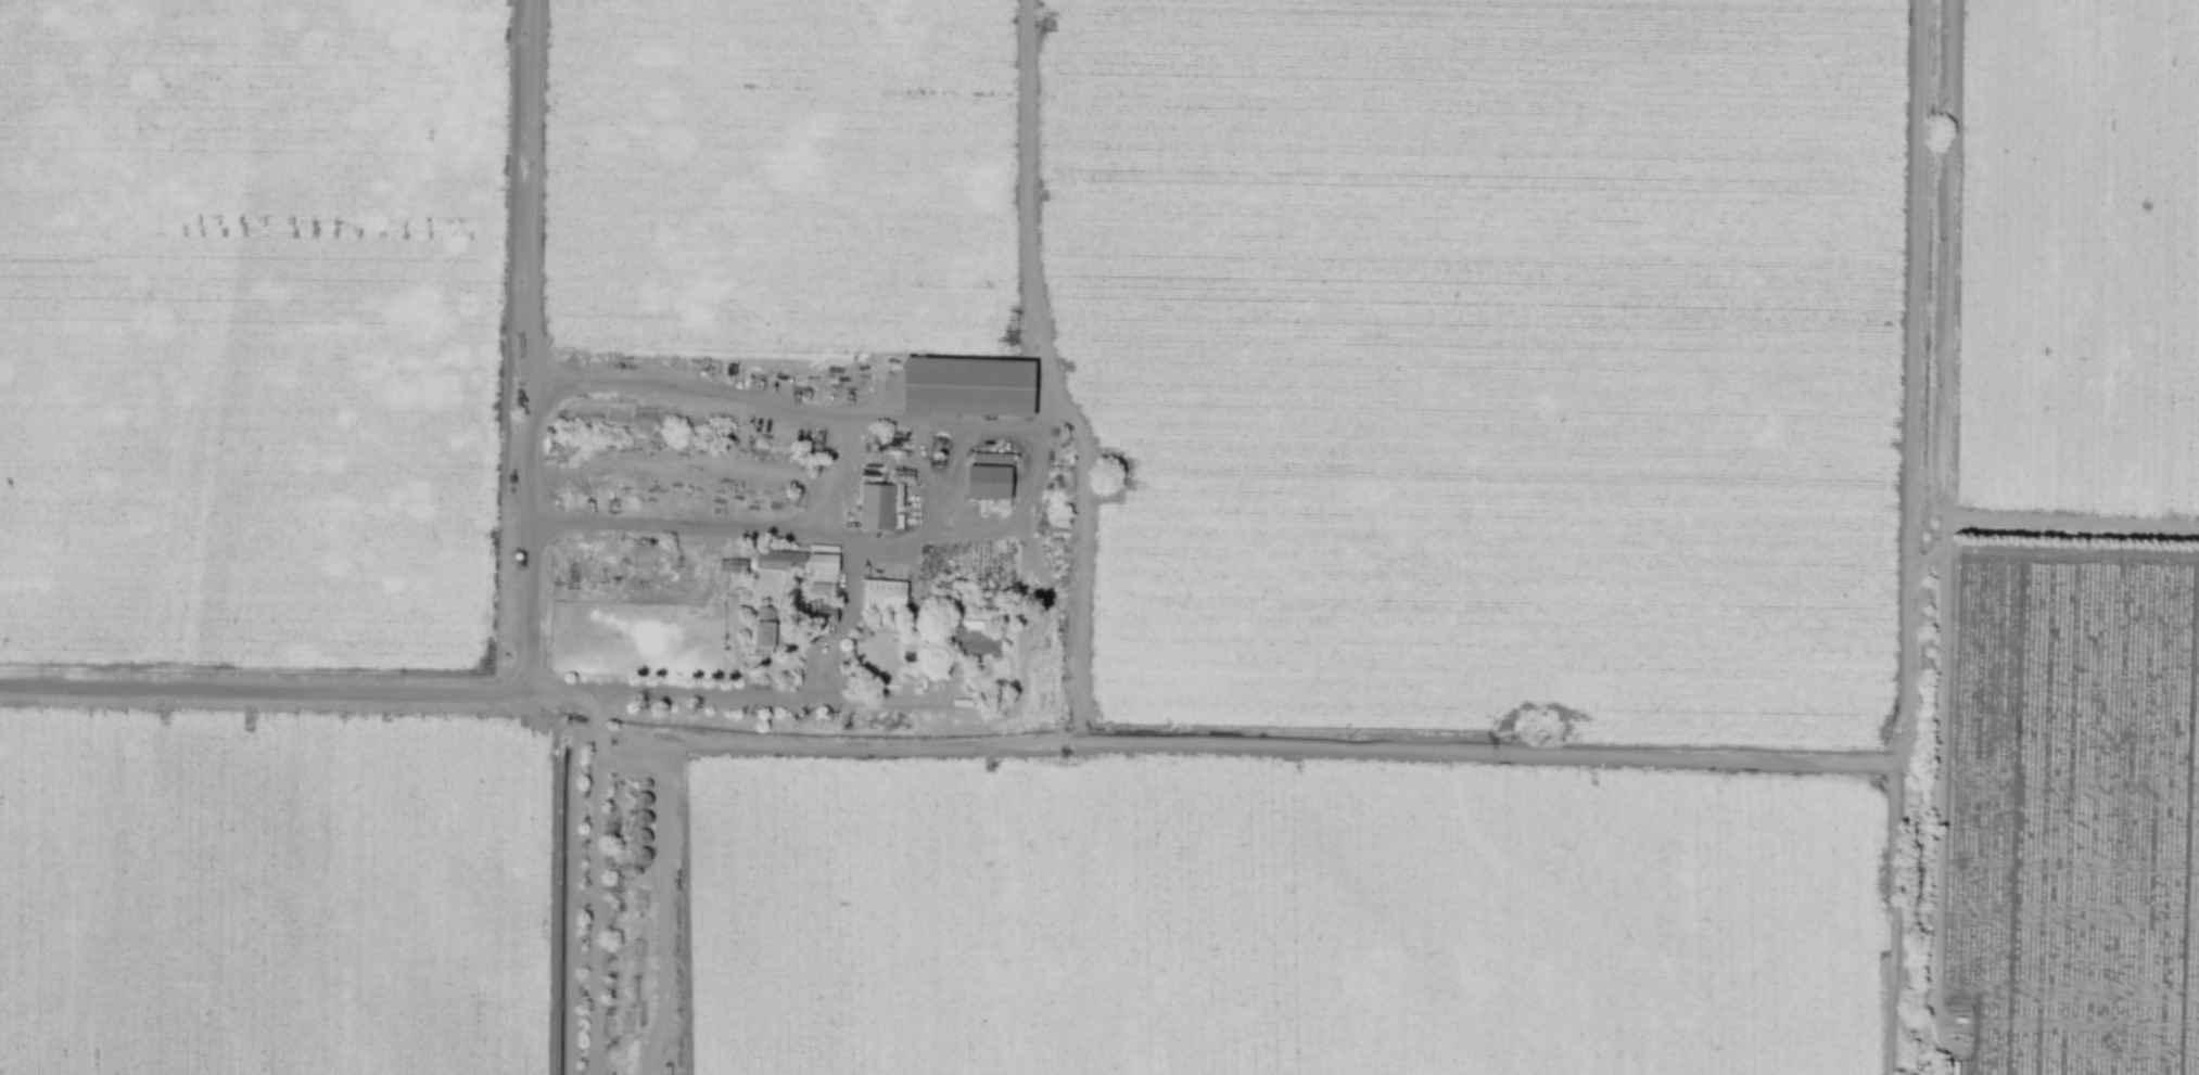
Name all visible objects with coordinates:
road: (1910, 281)
building: (966, 385)
road: (822, 407)
building: (988, 482)
building: (875, 505)
road: (823, 536)
building: (777, 558)
building: (822, 562)
building: (882, 594)
road: (841, 617)
building: (764, 635)
building: (973, 640)
road: (736, 693)
road: (594, 713)
road: (1187, 737)
road: (1937, 820)
road: (594, 905)
road: (661, 907)

